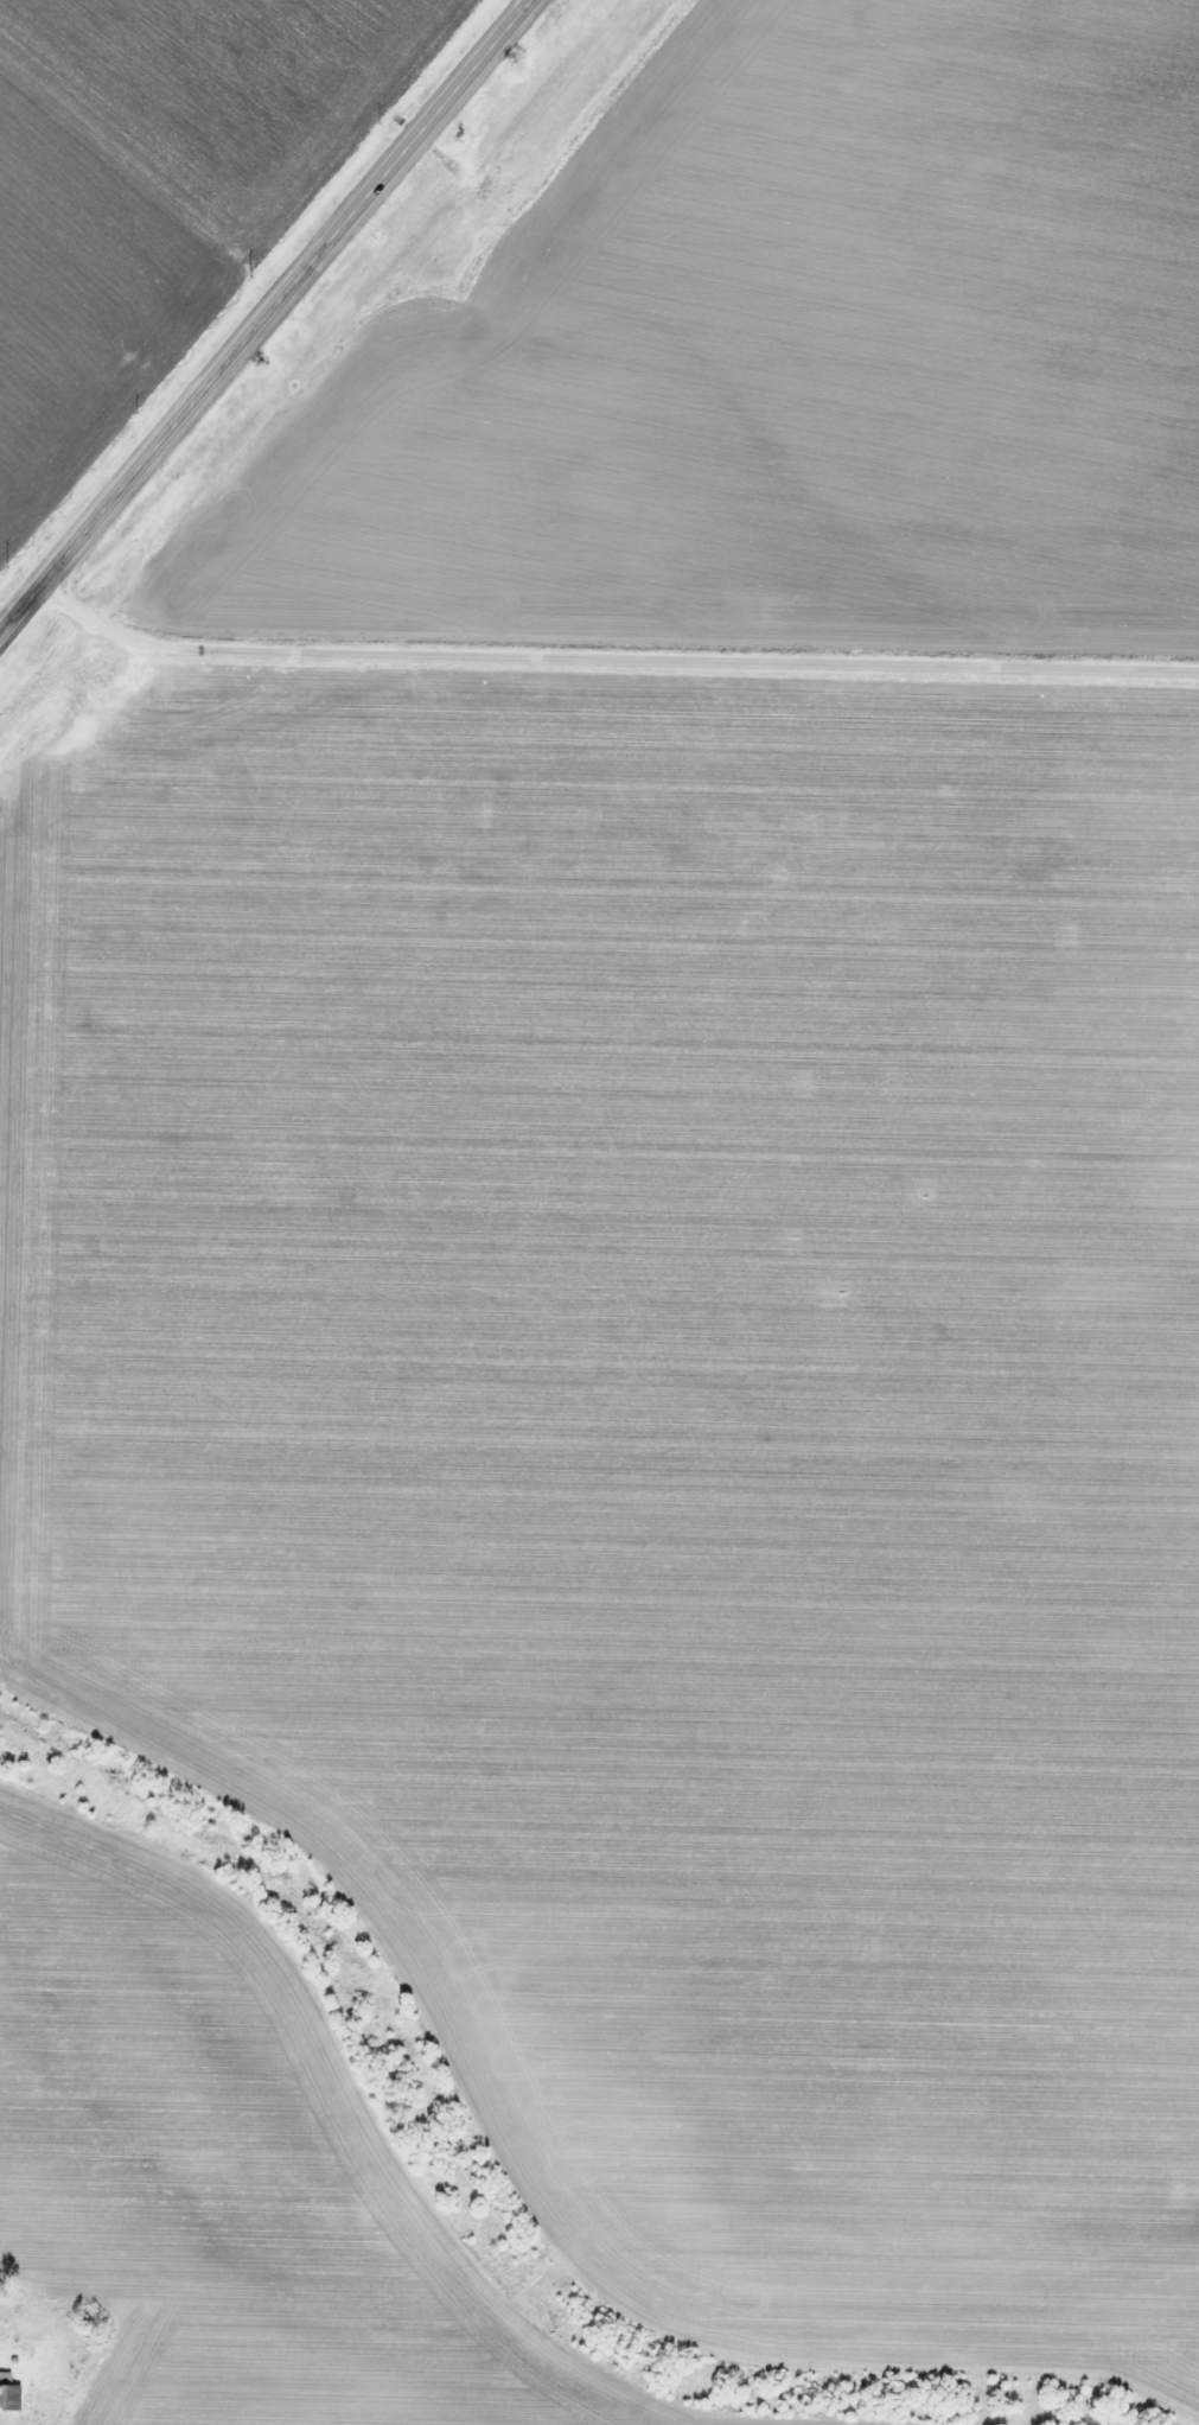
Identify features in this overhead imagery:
road: (266, 316)
railway: (311, 370)
road: (611, 656)
building: (8, 2395)

